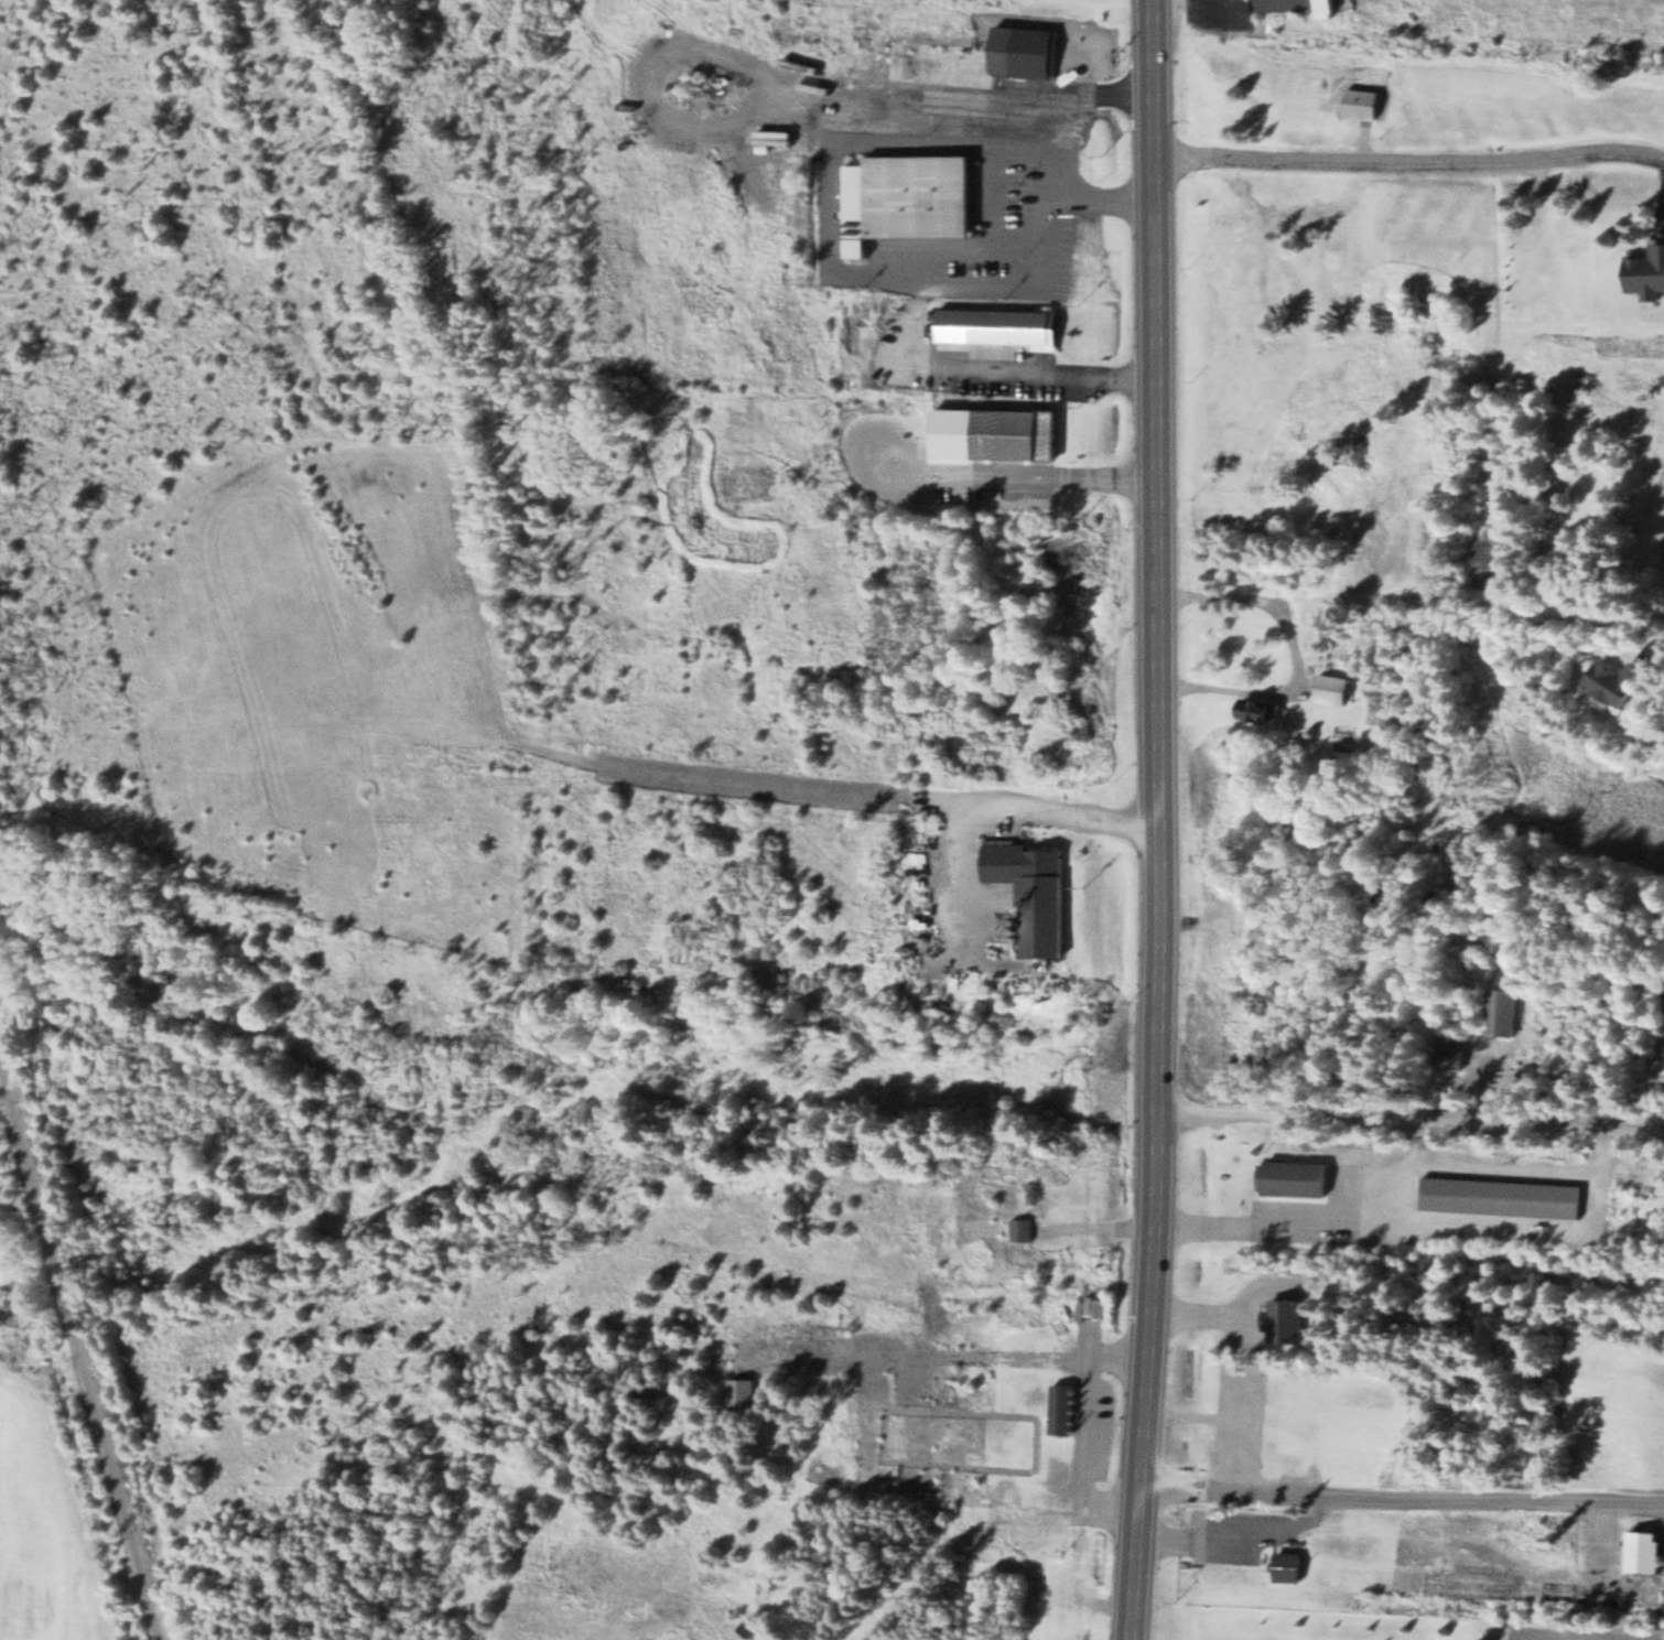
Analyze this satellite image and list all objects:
building: (1282, 4)
building: (1328, 9)
building: (974, 57)
building: (1360, 102)
building: (771, 137)
road: (1409, 165)
building: (906, 198)
building: (1646, 272)
building: (1000, 326)
building: (994, 434)
building: (1621, 682)
building: (1337, 688)
building: (1262, 711)
road: (1158, 744)
road: (1022, 806)
building: (1033, 892)
building: (1502, 1012)
building: (1450, 1058)
road: (1411, 1121)
building: (1294, 1177)
building: (1501, 1196)
building: (1020, 1228)
building: (1284, 1319)
road: (80, 1345)
building: (741, 1393)
building: (1060, 1407)
road: (1404, 1499)
building: (1371, 1546)
building: (1645, 1551)
road: (1138, 1564)
building: (1344, 1575)
building: (1450, 1583)
building: (745, 1629)

